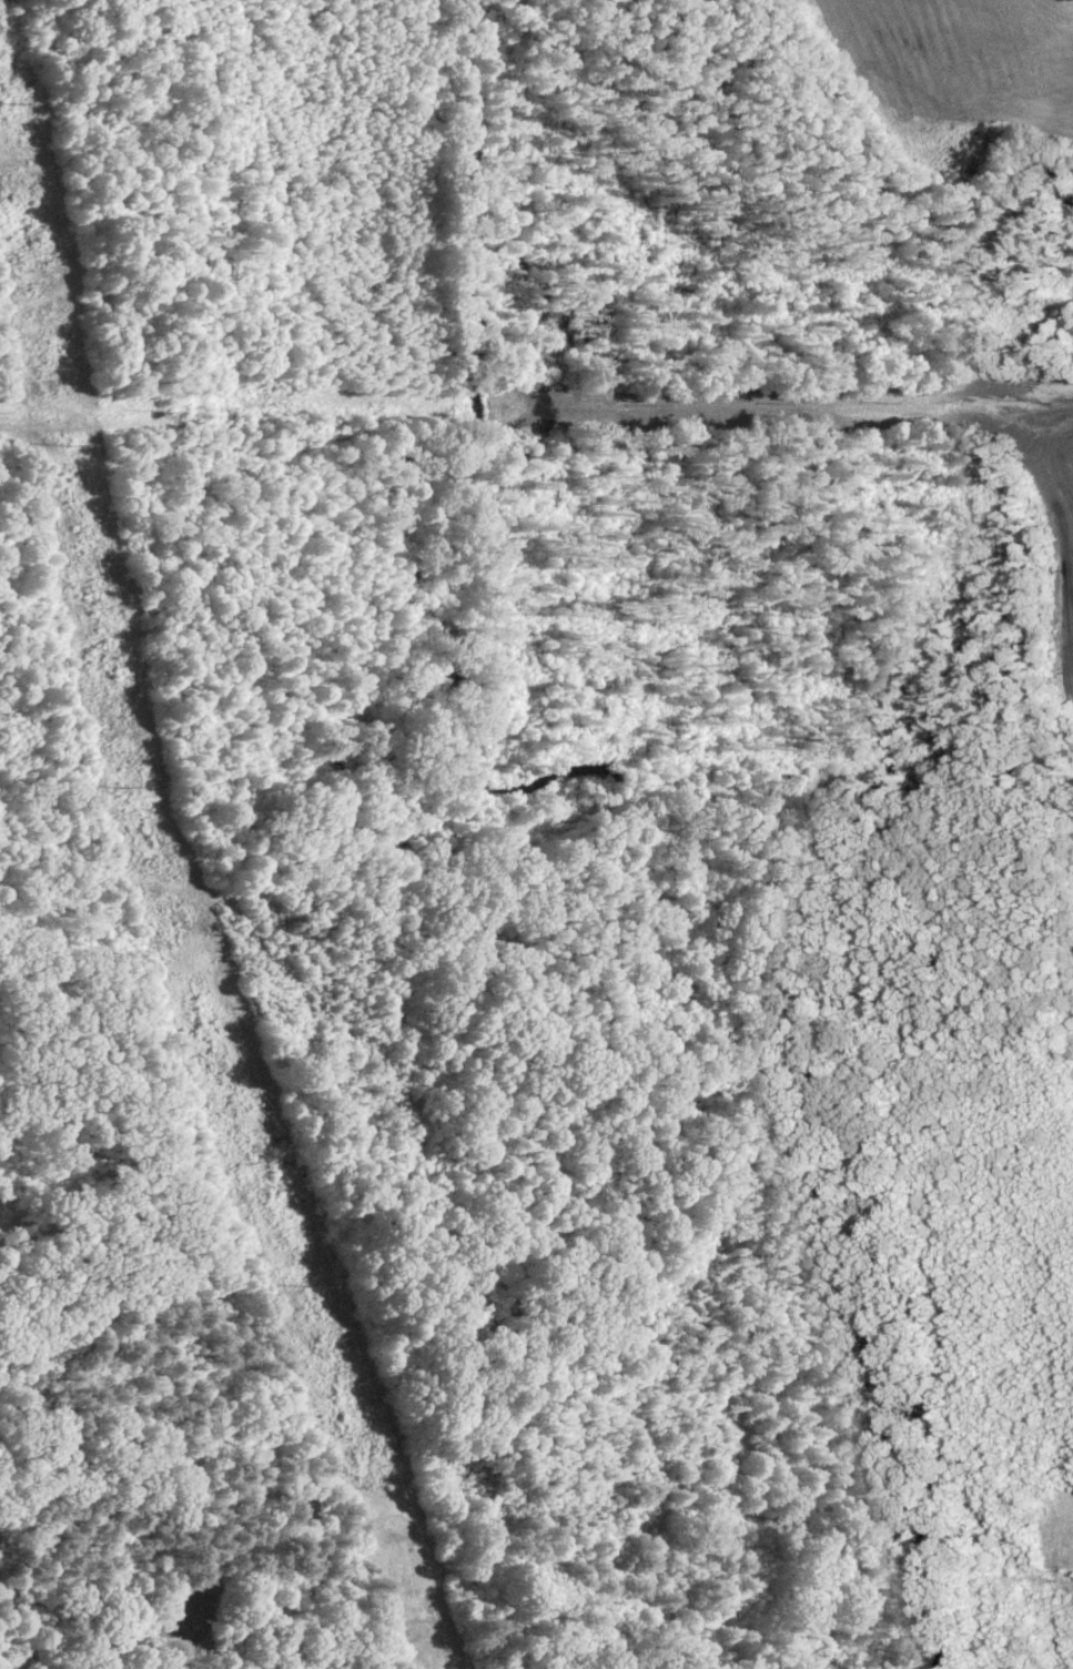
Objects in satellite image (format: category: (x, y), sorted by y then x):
power tower: (17, 101)
power tower: (75, 444)
power tower: (130, 788)
power tower: (306, 1285)

